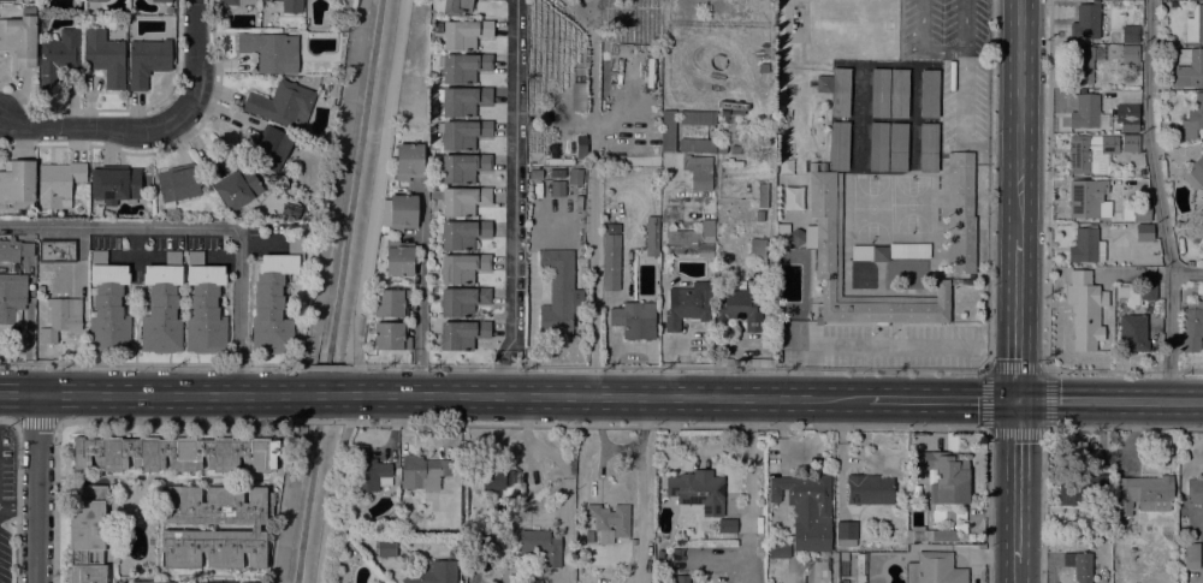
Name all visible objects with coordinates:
building: (96, 0)
building: (161, 0)
building: (482, 0)
building: (236, 1)
building: (290, 5)
building: (456, 7)
building: (168, 10)
building: (1085, 22)
building: (1195, 24)
building: (464, 34)
building: (1130, 34)
building: (20, 37)
road: (923, 43)
building: (268, 52)
building: (1130, 54)
building: (58, 58)
building: (105, 58)
building: (147, 61)
building: (1081, 63)
road: (198, 64)
building: (463, 66)
building: (1189, 67)
building: (763, 69)
building: (840, 93)
building: (879, 93)
building: (899, 94)
building: (928, 94)
road: (964, 95)
building: (462, 100)
building: (282, 105)
building: (1086, 112)
building: (697, 117)
building: (1128, 118)
building: (1193, 118)
road: (1019, 119)
road: (99, 127)
building: (666, 130)
building: (462, 133)
building: (1128, 143)
building: (697, 145)
building: (838, 145)
building: (878, 147)
building: (897, 147)
building: (928, 147)
building: (269, 148)
building: (740, 148)
building: (1091, 153)
building: (408, 161)
building: (461, 167)
building: (698, 172)
road: (380, 173)
building: (557, 173)
building: (1195, 173)
building: (535, 174)
building: (575, 176)
building: (17, 184)
building: (58, 184)
building: (114, 184)
building: (177, 184)
road: (988, 184)
road: (1048, 185)
building: (541, 186)
building: (237, 190)
road: (593, 192)
building: (761, 196)
road: (514, 197)
building: (1081, 200)
road: (1157, 200)
building: (461, 201)
building: (790, 201)
building: (384, 212)
building: (402, 213)
building: (1142, 213)
building: (959, 214)
building: (1202, 214)
building: (1177, 224)
road: (201, 226)
building: (383, 230)
building: (694, 233)
building: (780, 233)
building: (461, 234)
building: (652, 236)
building: (1144, 236)
building: (796, 237)
building: (1085, 246)
building: (826, 248)
building: (14, 250)
building: (757, 250)
building: (57, 251)
building: (889, 251)
building: (719, 255)
building: (398, 258)
building: (610, 262)
building: (462, 267)
building: (17, 270)
road: (1186, 274)
building: (43, 275)
road: (419, 288)
building: (1148, 291)
building: (557, 293)
building: (11, 297)
building: (462, 301)
building: (274, 302)
building: (391, 303)
building: (107, 305)
building: (161, 307)
building: (687, 307)
building: (205, 308)
building: (1085, 309)
building: (737, 310)
building: (60, 319)
building: (634, 320)
road: (1018, 320)
building: (1191, 326)
building: (1132, 333)
building: (462, 334)
building: (390, 337)
road: (866, 344)
road: (158, 363)
road: (327, 365)
road: (423, 365)
road: (899, 369)
road: (358, 370)
road: (986, 370)
road: (1124, 371)
road: (155, 393)
road: (324, 394)
road: (676, 397)
traffic signals: (1018, 400)
road: (1110, 400)
road: (350, 410)
road: (367, 421)
road: (321, 422)
road: (35, 423)
road: (103, 423)
road: (955, 427)
road: (687, 450)
building: (176, 454)
building: (368, 470)
building: (423, 472)
building: (944, 476)
building: (493, 481)
road: (1015, 481)
building: (476, 484)
road: (36, 488)
road: (748, 489)
building: (869, 489)
building: (698, 490)
building: (1081, 490)
building: (1195, 490)
road: (17, 494)
building: (1143, 494)
road: (331, 504)
road: (18, 508)
building: (806, 510)
building: (942, 516)
building: (608, 523)
building: (727, 525)
building: (254, 528)
building: (846, 534)
building: (87, 535)
building: (943, 535)
building: (541, 546)
building: (384, 548)
building: (778, 549)
building: (1191, 552)
building: (659, 554)
building: (842, 557)
building: (1079, 565)
building: (834, 567)
building: (858, 569)
building: (934, 569)
building: (817, 571)
building: (433, 572)
road: (1014, 572)
building: (681, 579)
building: (379, 582)

